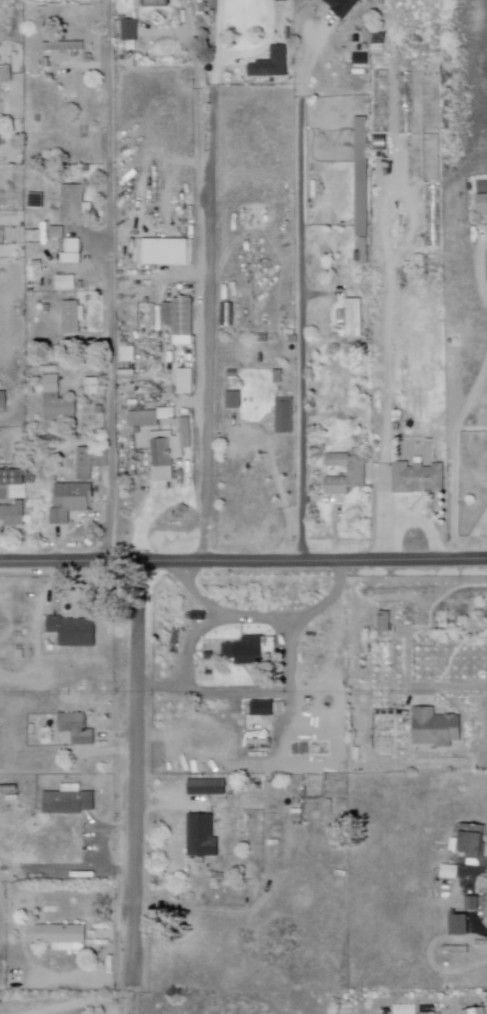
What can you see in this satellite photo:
building: (156, 2)
building: (341, 6)
building: (129, 32)
building: (288, 34)
building: (62, 46)
building: (360, 58)
building: (270, 64)
building: (6, 74)
road: (199, 129)
road: (36, 163)
building: (361, 177)
building: (481, 204)
building: (74, 205)
building: (433, 216)
building: (56, 233)
building: (71, 249)
building: (164, 250)
road: (481, 264)
road: (210, 280)
road: (114, 281)
building: (66, 283)
road: (302, 292)
building: (72, 317)
building: (179, 317)
building: (355, 319)
building: (234, 375)
building: (278, 378)
building: (91, 386)
building: (233, 400)
building: (3, 403)
building: (57, 403)
building: (284, 416)
building: (398, 418)
building: (168, 451)
road: (456, 460)
building: (89, 462)
building: (356, 472)
building: (12, 478)
building: (418, 478)
building: (70, 502)
building: (13, 516)
road: (243, 561)
building: (198, 615)
building: (384, 621)
building: (71, 631)
building: (245, 651)
road: (450, 688)
road: (202, 696)
building: (261, 709)
building: (435, 728)
building: (77, 731)
road: (133, 770)
building: (206, 787)
building: (68, 802)
building: (200, 836)
building: (468, 842)
building: (449, 870)
building: (471, 901)
building: (459, 923)
building: (63, 937)
road: (125, 995)
building: (404, 1008)
building: (475, 1011)

